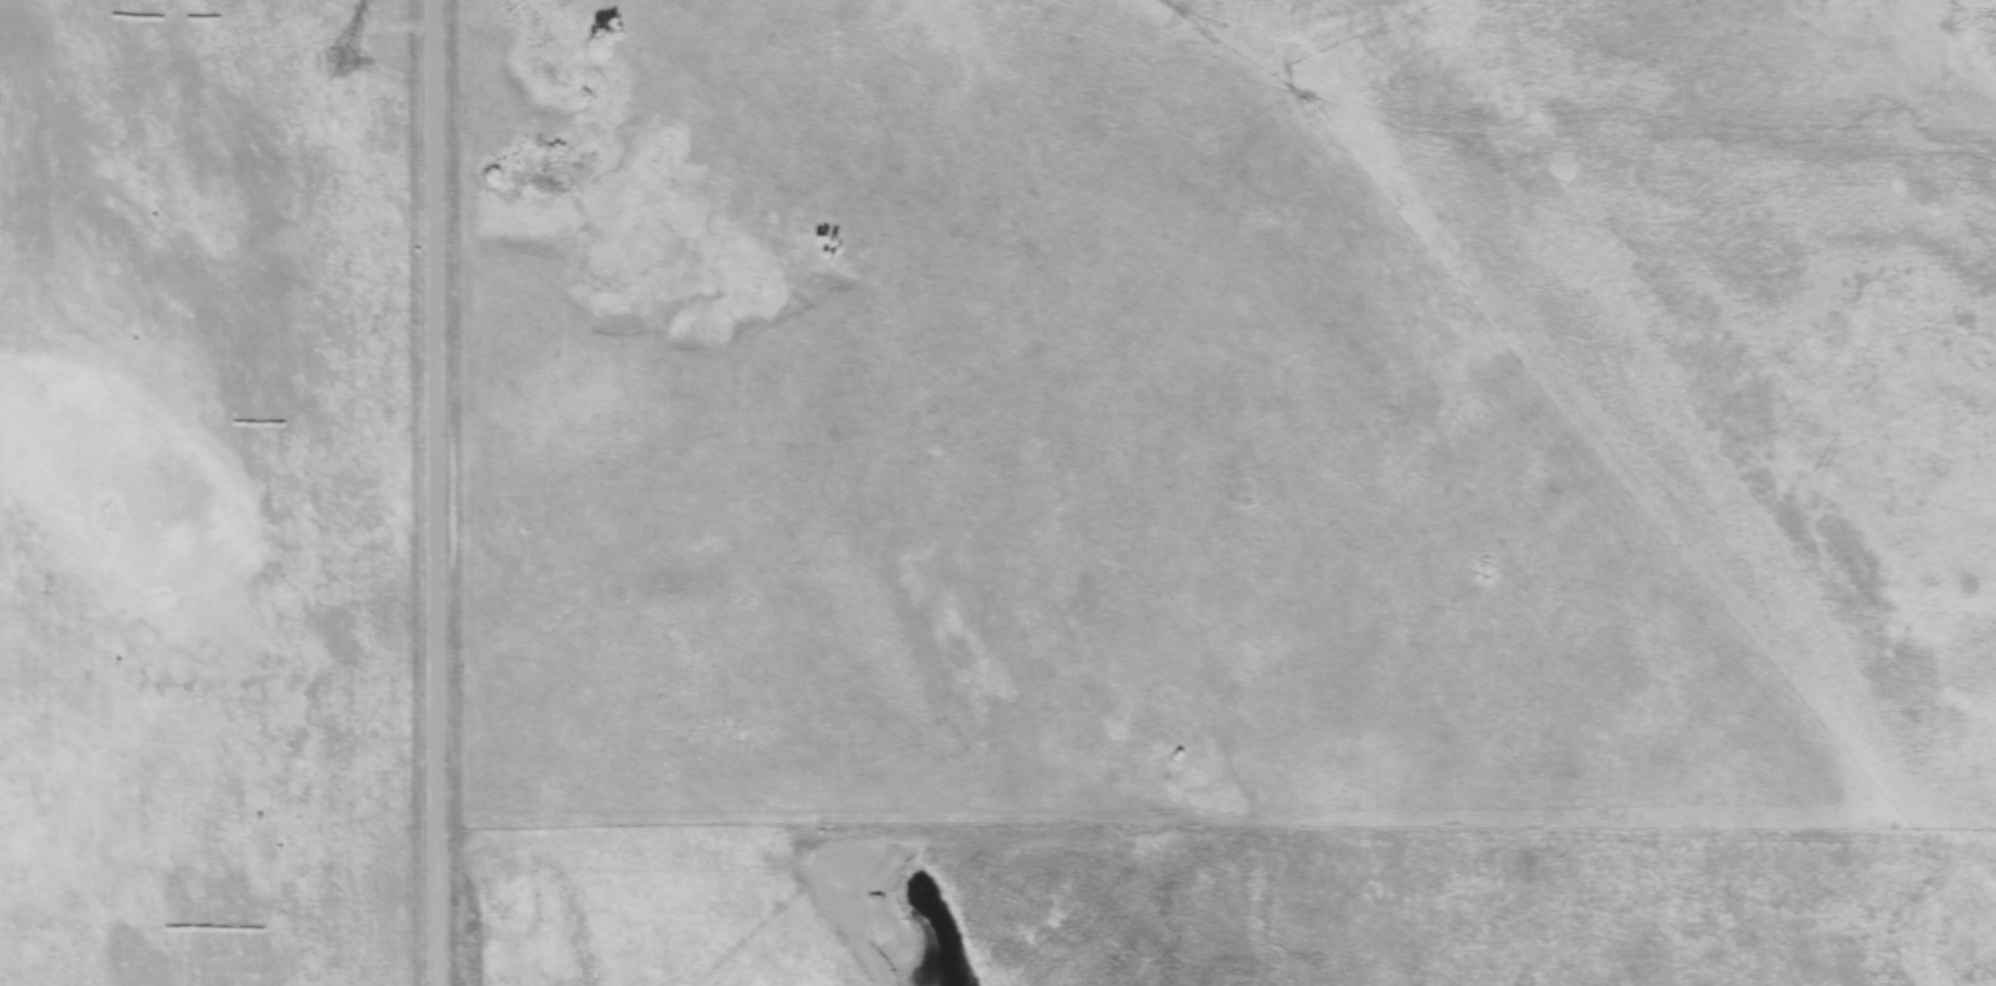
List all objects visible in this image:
power tower: (344, 62)
road: (440, 492)
road: (869, 839)

